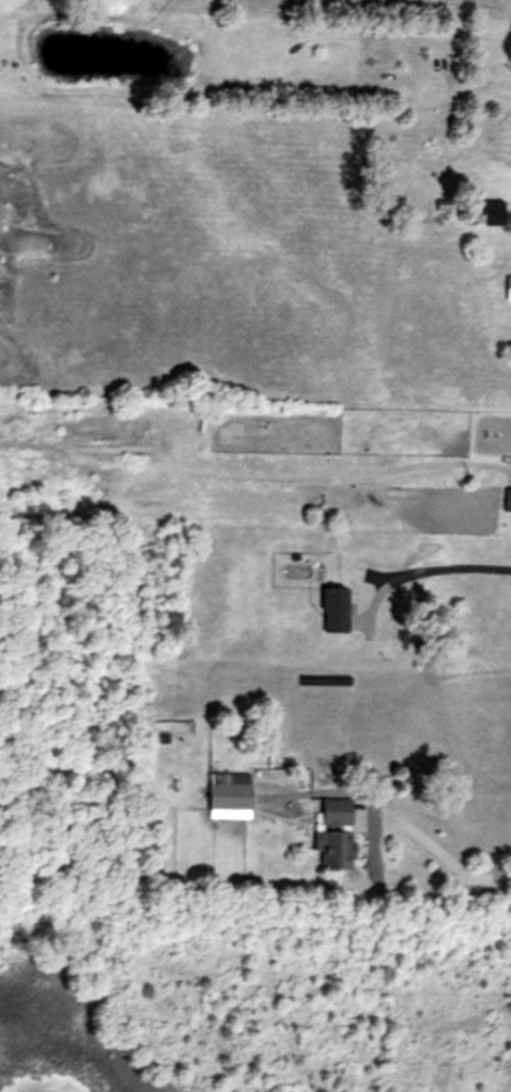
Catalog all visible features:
building: (495, 210)
building: (508, 286)
road: (421, 557)
building: (336, 606)
building: (231, 794)
building: (336, 832)
road: (457, 861)

